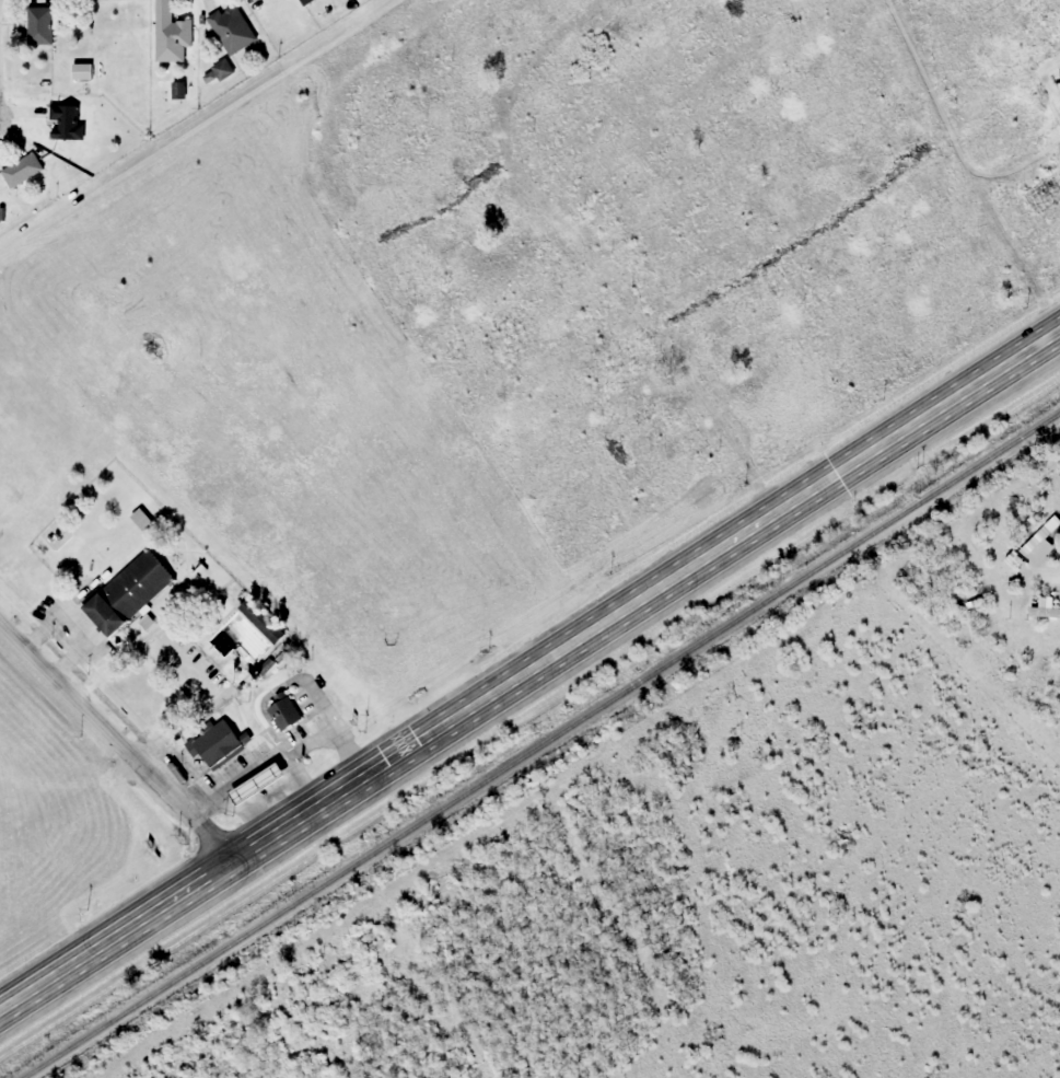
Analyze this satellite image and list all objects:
building: (39, 25)
building: (231, 28)
building: (170, 34)
building: (81, 71)
building: (66, 121)
building: (21, 169)
building: (1029, 553)
building: (127, 593)
building: (1044, 610)
road: (531, 674)
building: (282, 712)
road: (118, 742)
building: (218, 743)
railway: (544, 746)
building: (256, 784)

